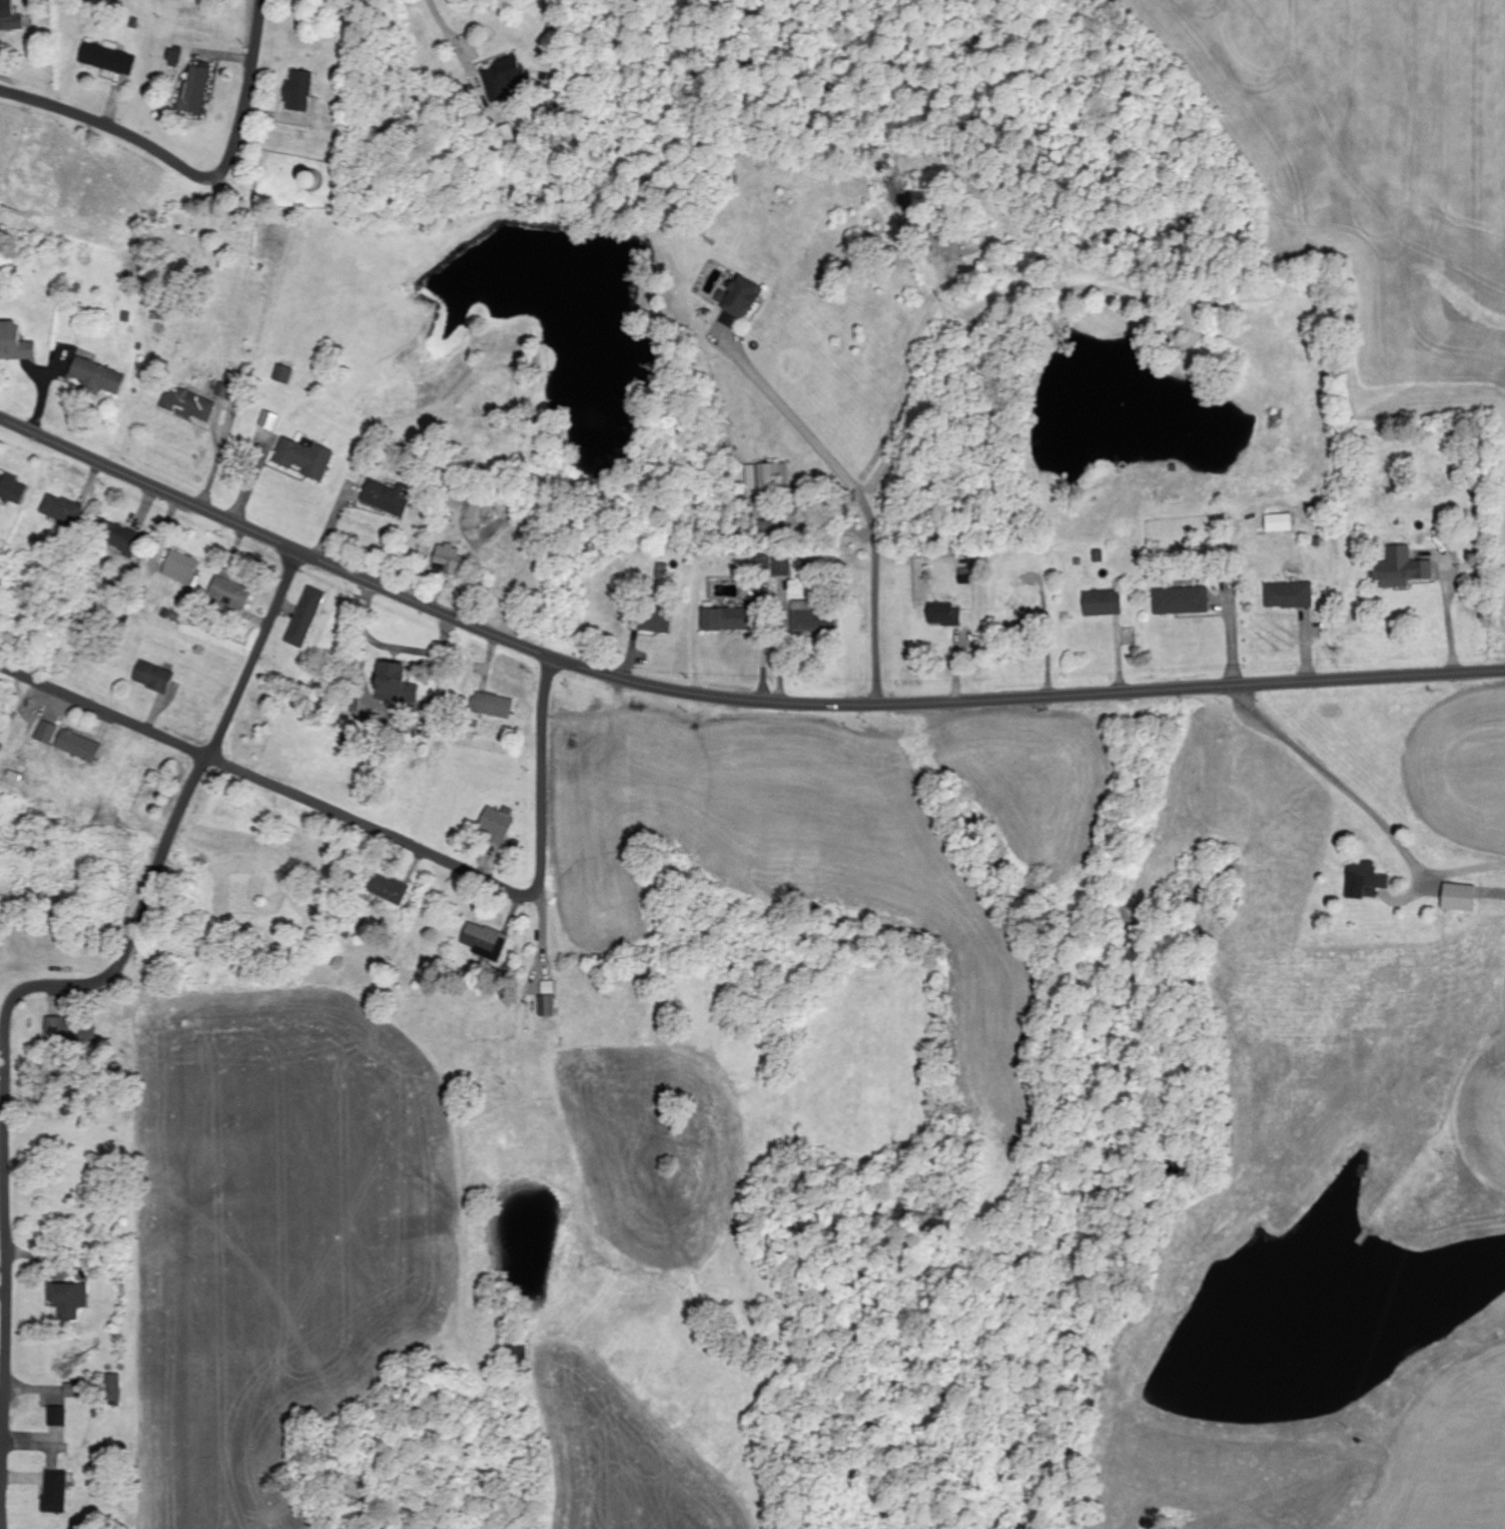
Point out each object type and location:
building: (10, 17)
building: (108, 57)
building: (175, 58)
building: (508, 78)
building: (196, 91)
building: (303, 91)
road: (192, 171)
building: (740, 301)
building: (160, 329)
building: (14, 343)
building: (286, 374)
building: (98, 376)
building: (224, 391)
building: (189, 405)
building: (270, 420)
building: (306, 459)
building: (766, 477)
building: (13, 490)
building: (374, 491)
building: (62, 510)
building: (1280, 523)
building: (125, 541)
building: (449, 560)
building: (181, 568)
building: (776, 568)
building: (1402, 569)
building: (1290, 596)
building: (1182, 601)
building: (1103, 603)
building: (946, 615)
building: (306, 617)
building: (729, 620)
building: (656, 622)
building: (814, 622)
building: (154, 677)
building: (395, 684)
road: (725, 692)
building: (493, 706)
building: (48, 733)
building: (76, 744)
road: (255, 773)
road: (1329, 773)
road: (544, 784)
building: (500, 826)
building: (1365, 880)
building: (389, 889)
building: (1459, 898)
building: (486, 942)
road: (28, 986)
building: (548, 1007)
building: (60, 1028)
building: (68, 1300)
building: (113, 1389)
building: (56, 1493)

